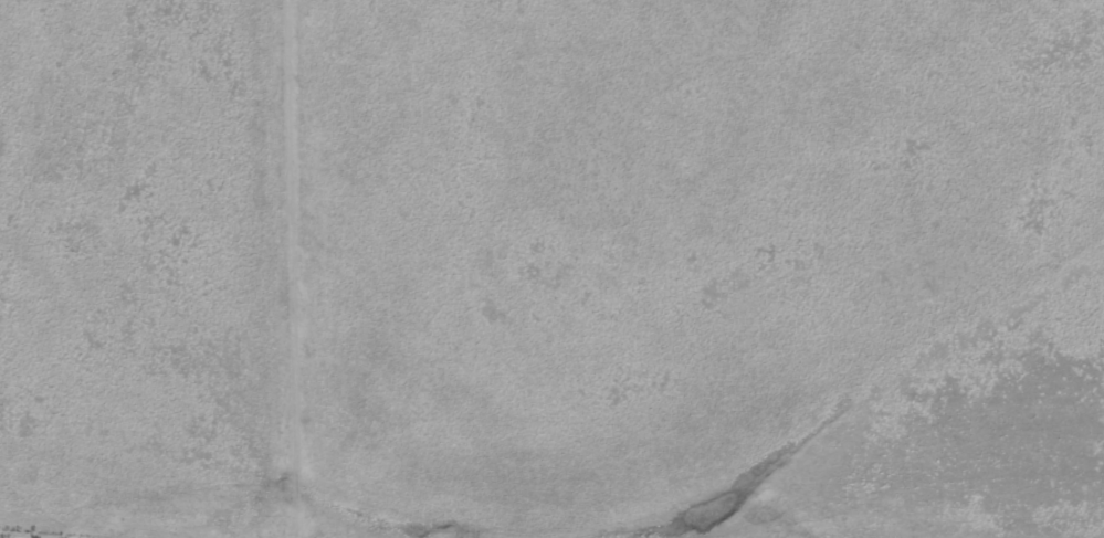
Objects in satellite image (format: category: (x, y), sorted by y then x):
road: (264, 268)

